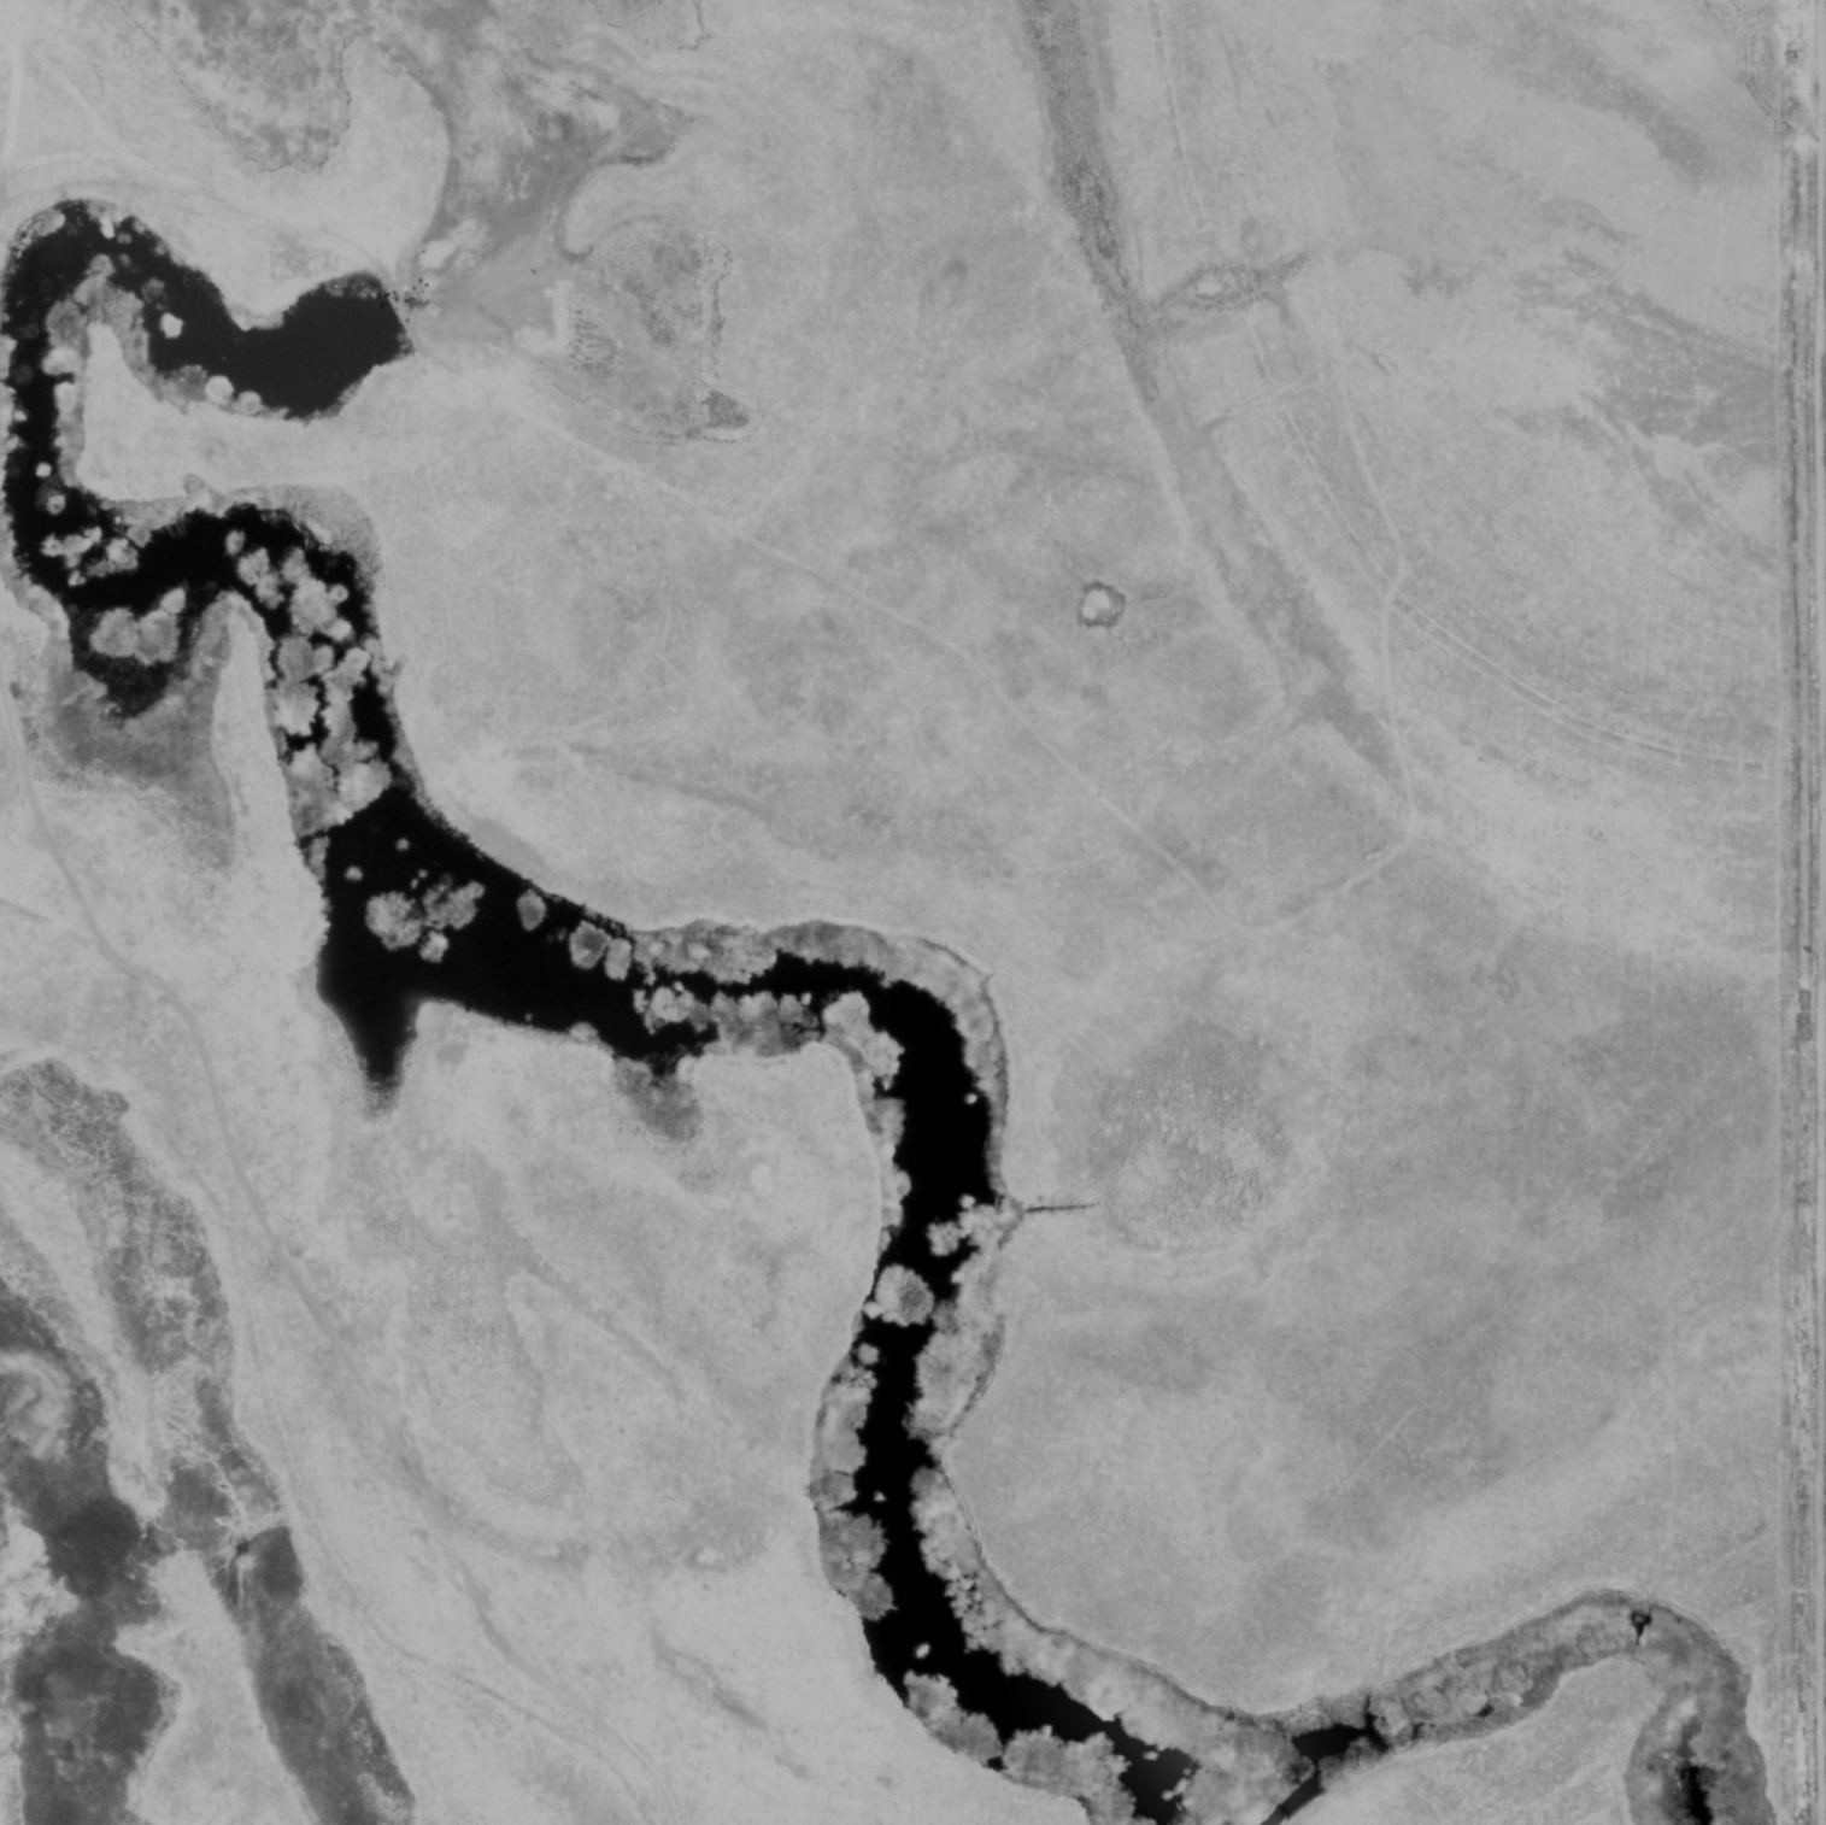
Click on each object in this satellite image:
road: (1820, 195)

